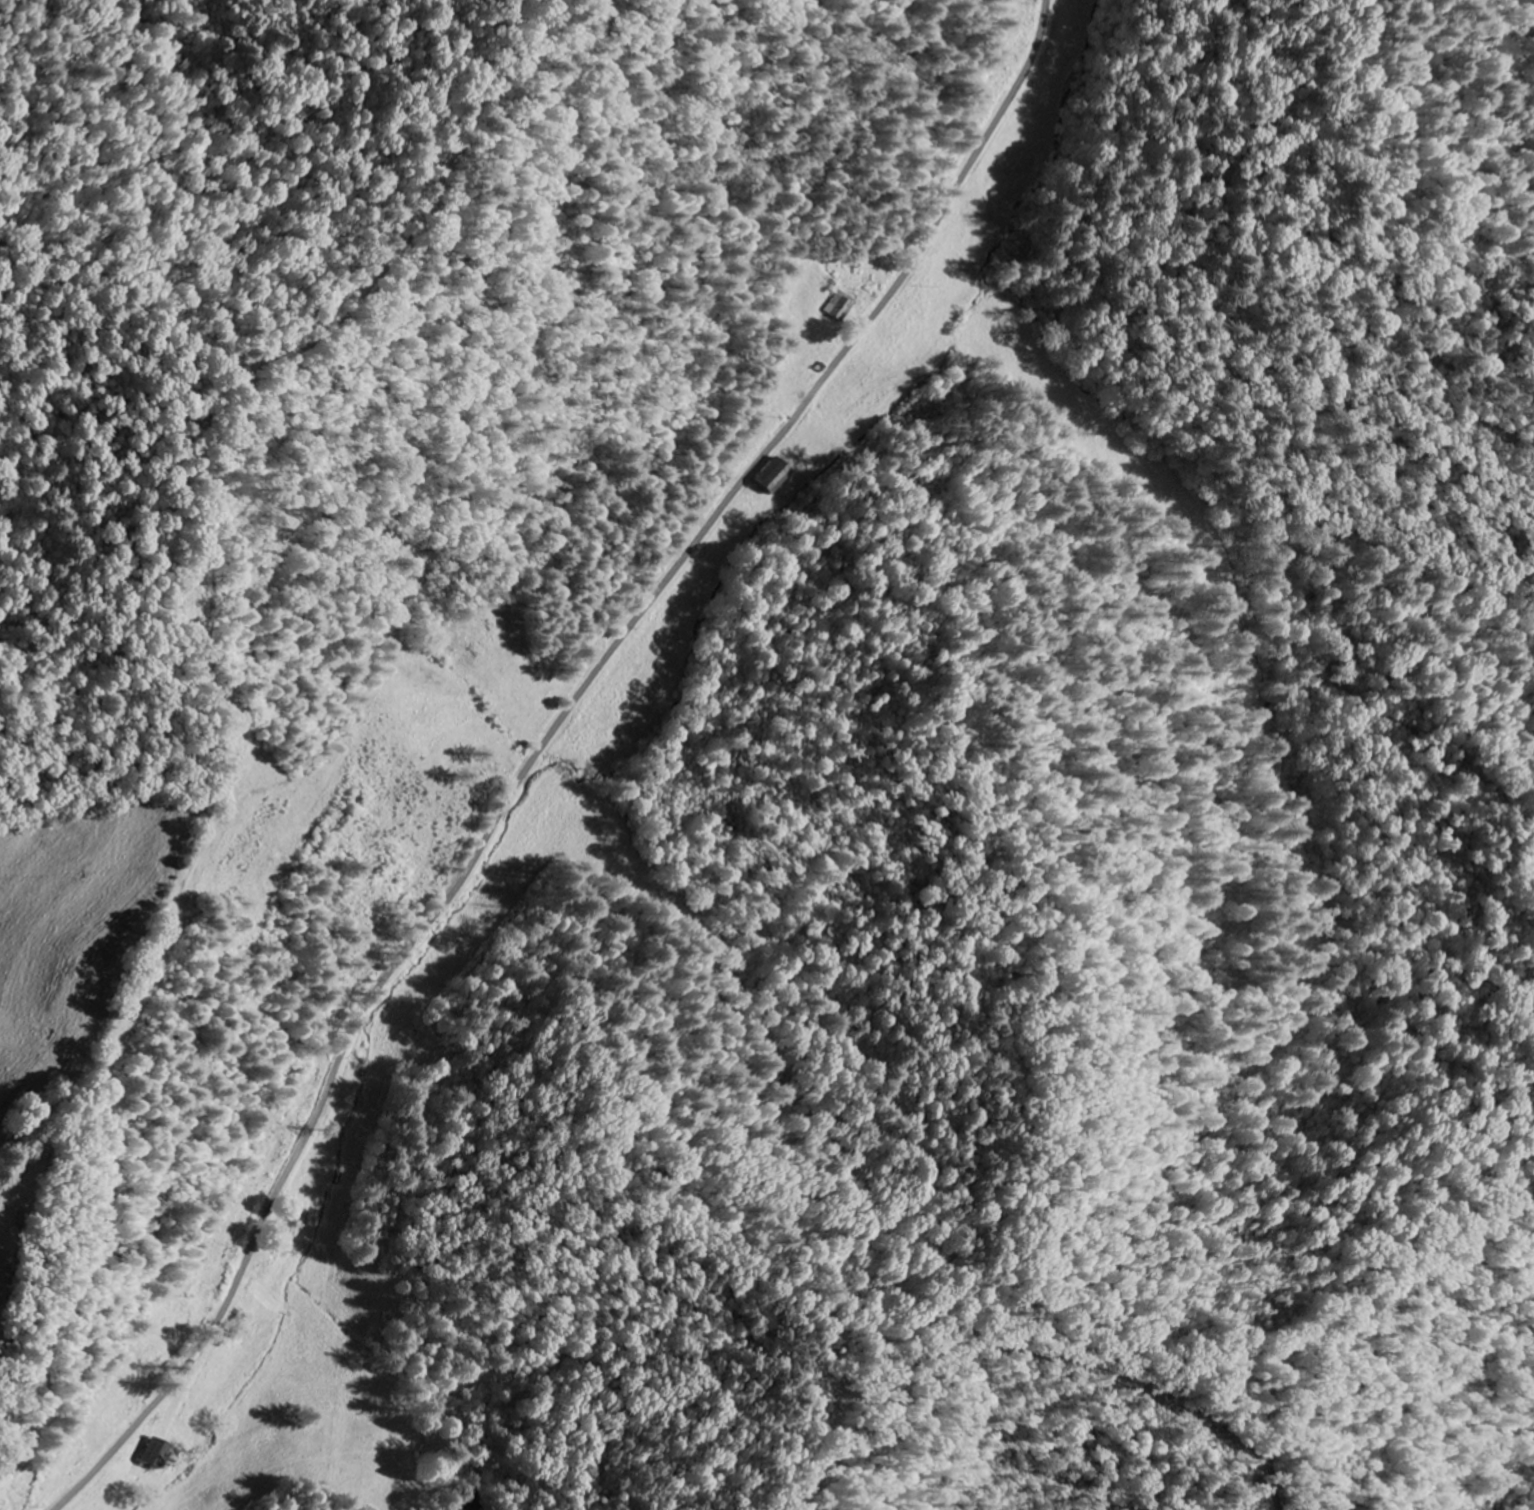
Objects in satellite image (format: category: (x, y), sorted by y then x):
building: (771, 477)
road: (540, 746)
road: (1421, 1198)
road: (1013, 1323)
road: (1278, 1392)
building: (153, 1453)

